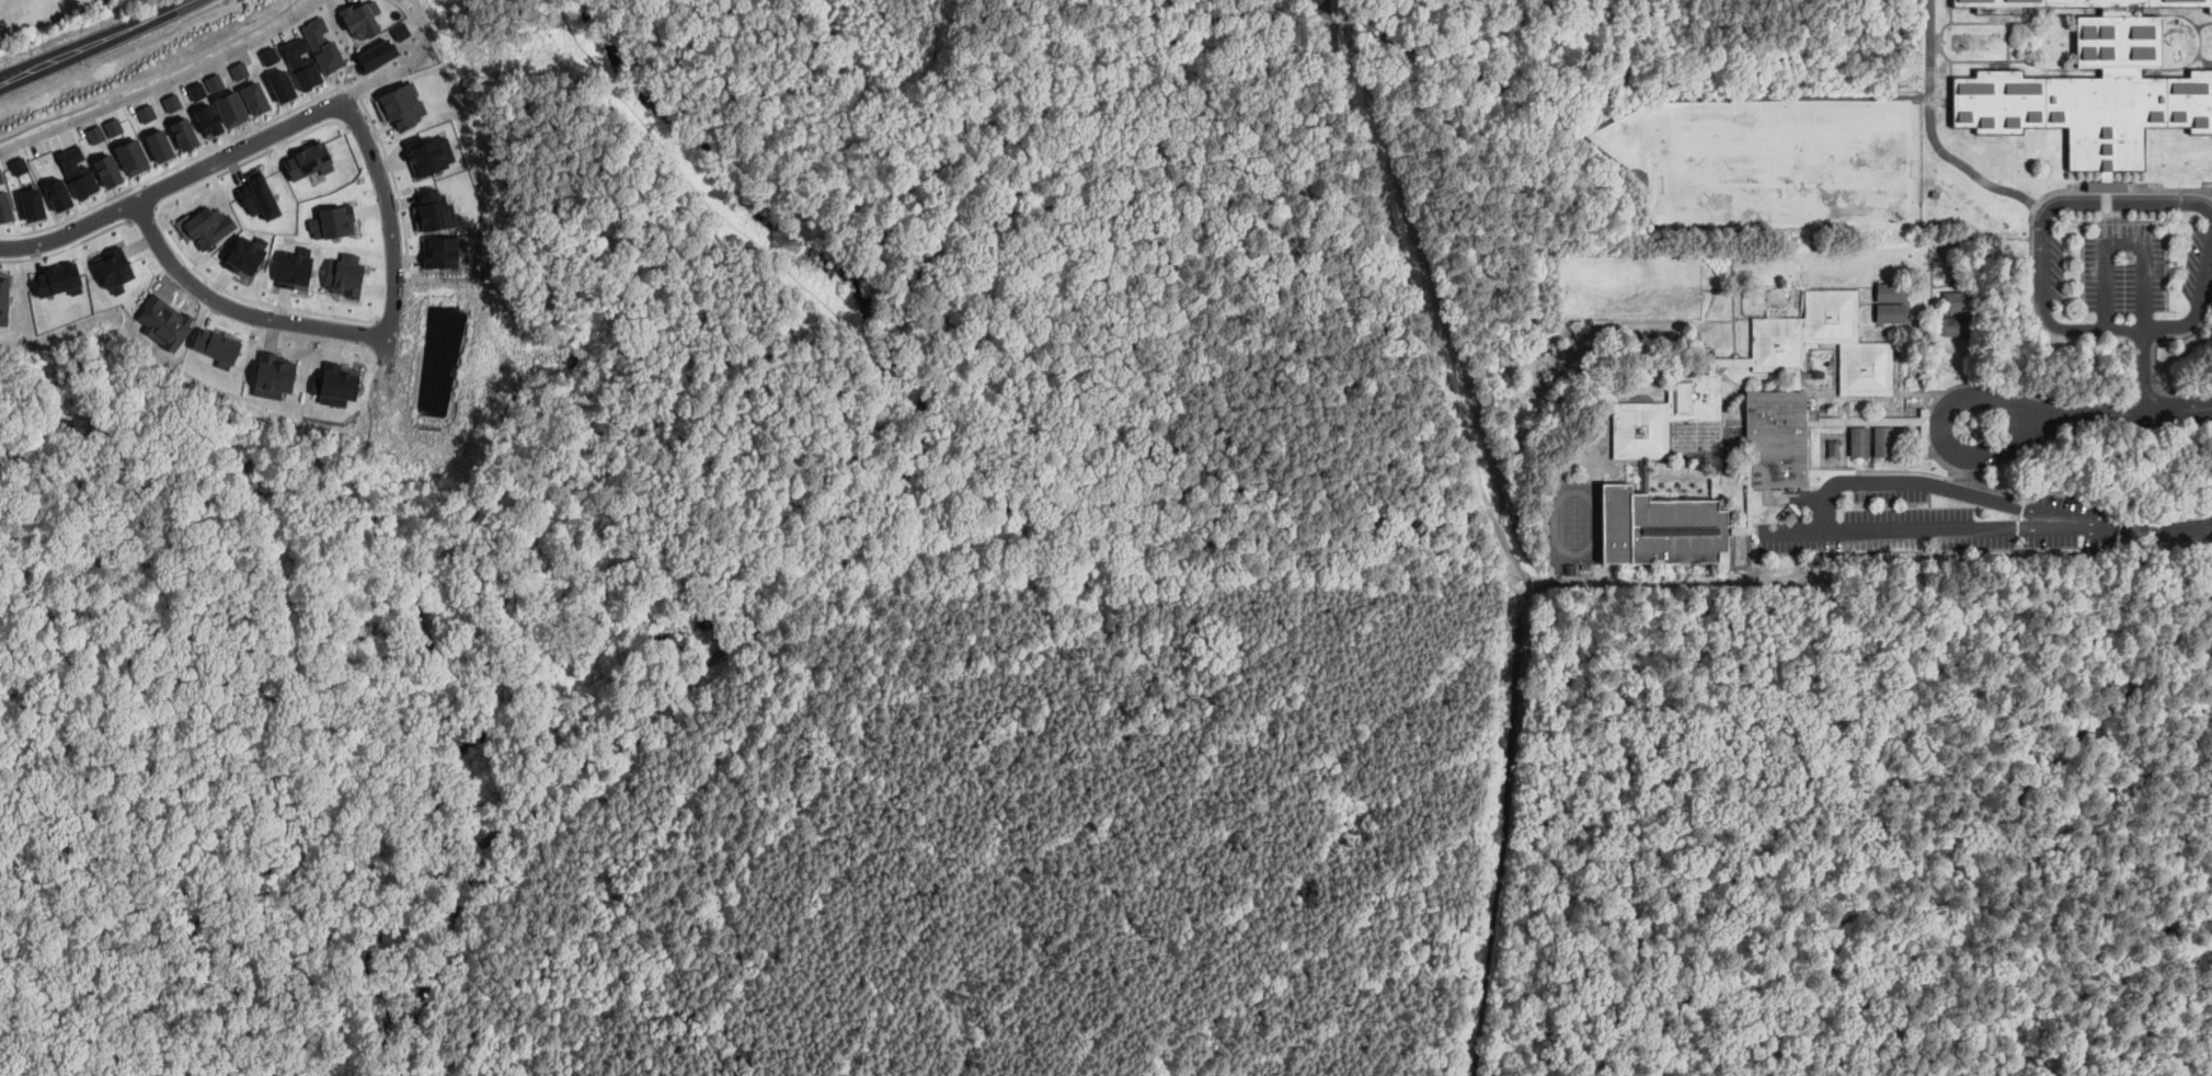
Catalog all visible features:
building: (356, 12)
road: (53, 19)
road: (1377, 30)
road: (99, 41)
building: (325, 47)
road: (1933, 47)
building: (373, 51)
road: (419, 62)
building: (303, 69)
road: (151, 76)
road: (896, 76)
building: (210, 82)
building: (280, 82)
road: (165, 84)
building: (2093, 89)
building: (192, 92)
building: (253, 94)
building: (399, 101)
building: (169, 103)
building: (231, 104)
road: (1212, 105)
road: (1631, 111)
building: (142, 113)
building: (205, 113)
building: (110, 127)
building: (184, 129)
building: (92, 134)
building: (159, 140)
building: (427, 149)
building: (130, 151)
building: (306, 158)
park: (1781, 161)
building: (16, 162)
building: (106, 163)
road: (1968, 168)
building: (77, 169)
building: (98, 172)
road: (175, 183)
building: (57, 192)
road: (1481, 193)
building: (254, 194)
building: (1936, 195)
building: (2, 197)
road: (2207, 198)
building: (27, 199)
road: (2137, 201)
building: (429, 205)
building: (329, 216)
building: (202, 222)
road: (391, 227)
road: (2124, 243)
building: (241, 249)
building: (437, 250)
road: (1116, 250)
building: (110, 263)
building: (291, 263)
parking lot: (2125, 267)
building: (56, 275)
building: (342, 276)
building: (1, 291)
building: (1891, 293)
road: (1423, 298)
building: (1958, 301)
road: (2041, 306)
road: (237, 311)
road: (2198, 311)
building: (1891, 313)
building: (162, 317)
building: (1958, 325)
building: (215, 345)
road: (2144, 369)
building: (271, 373)
building: (332, 381)
road: (2128, 410)
road: (1940, 433)
building: (1776, 440)
building: (1859, 440)
building: (1882, 440)
road: (886, 496)
road: (1823, 507)
parking lot: (1918, 519)
road: (2153, 530)
road: (1795, 533)
road: (1460, 564)
building: (1585, 566)
building: (1570, 569)
road: (1676, 584)
road: (442, 594)
road: (1783, 690)
road: (1873, 791)
road: (2074, 825)
road: (1502, 833)
road: (314, 860)
road: (2168, 863)
road: (1044, 869)
road: (1938, 879)
road: (1594, 926)
road: (1974, 940)
road: (2153, 973)
road: (59, 1043)
road: (1867, 1048)

